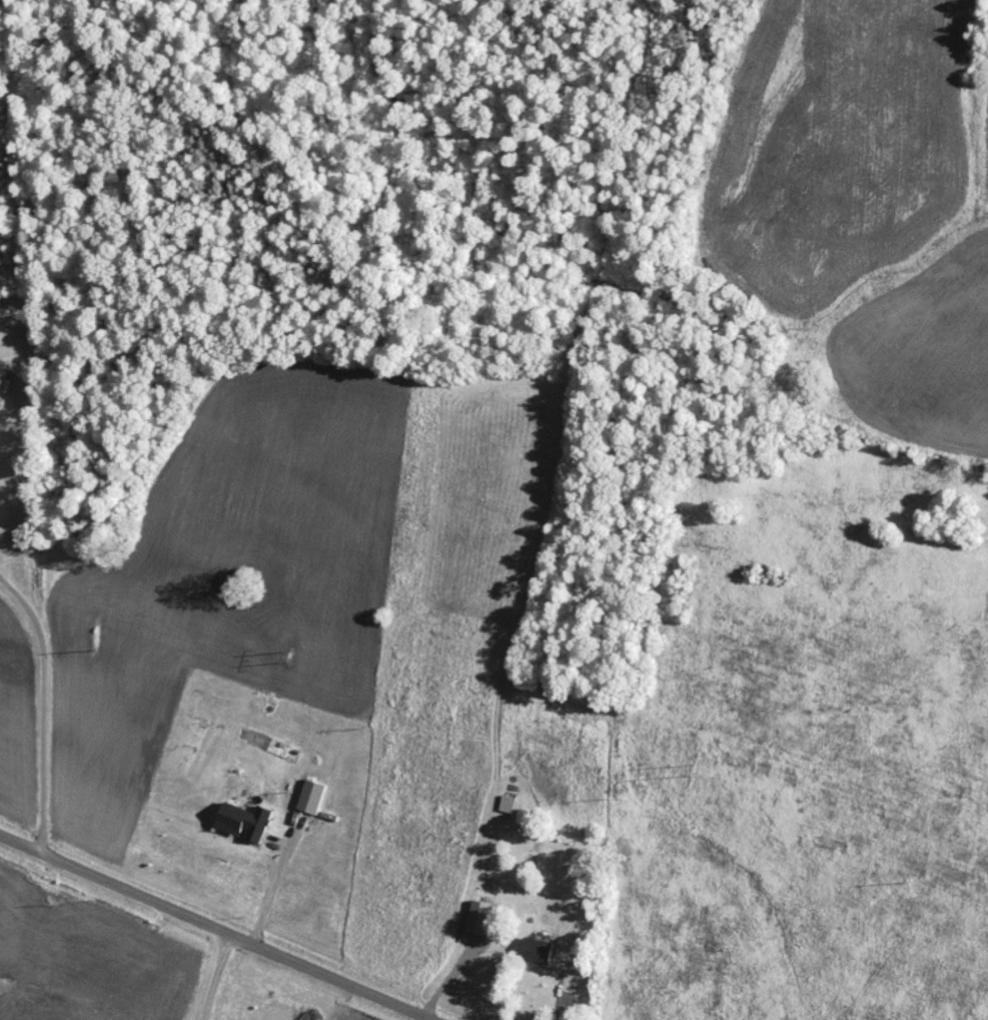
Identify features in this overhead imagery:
power tower: (295, 657)
road: (46, 707)
power tower: (695, 770)
building: (315, 798)
building: (510, 805)
building: (248, 822)
building: (487, 918)
road: (215, 928)
building: (540, 950)

